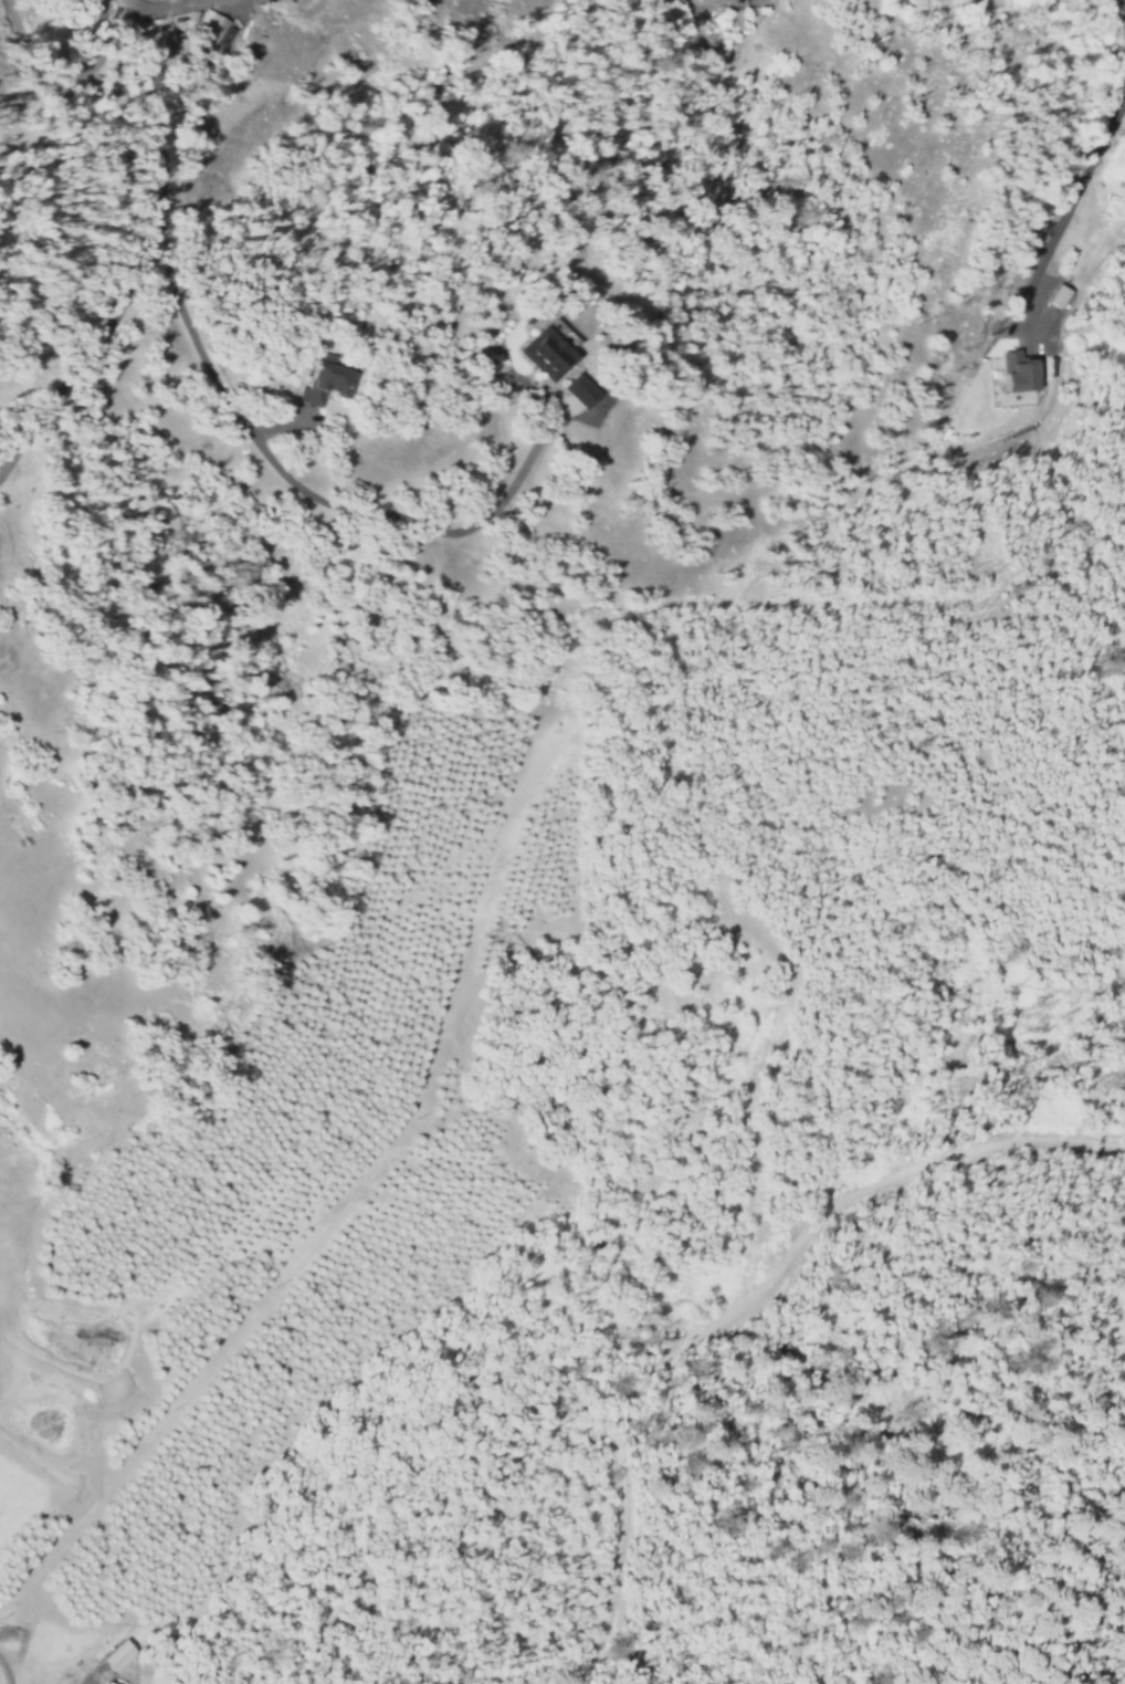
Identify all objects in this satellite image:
building: (206, 29)
road: (1090, 169)
road: (155, 200)
building: (1055, 295)
building: (545, 353)
building: (1020, 372)
building: (324, 383)
building: (578, 389)
road: (385, 524)
road: (746, 1087)
road: (746, 1299)
building: (114, 1655)
building: (105, 1682)

